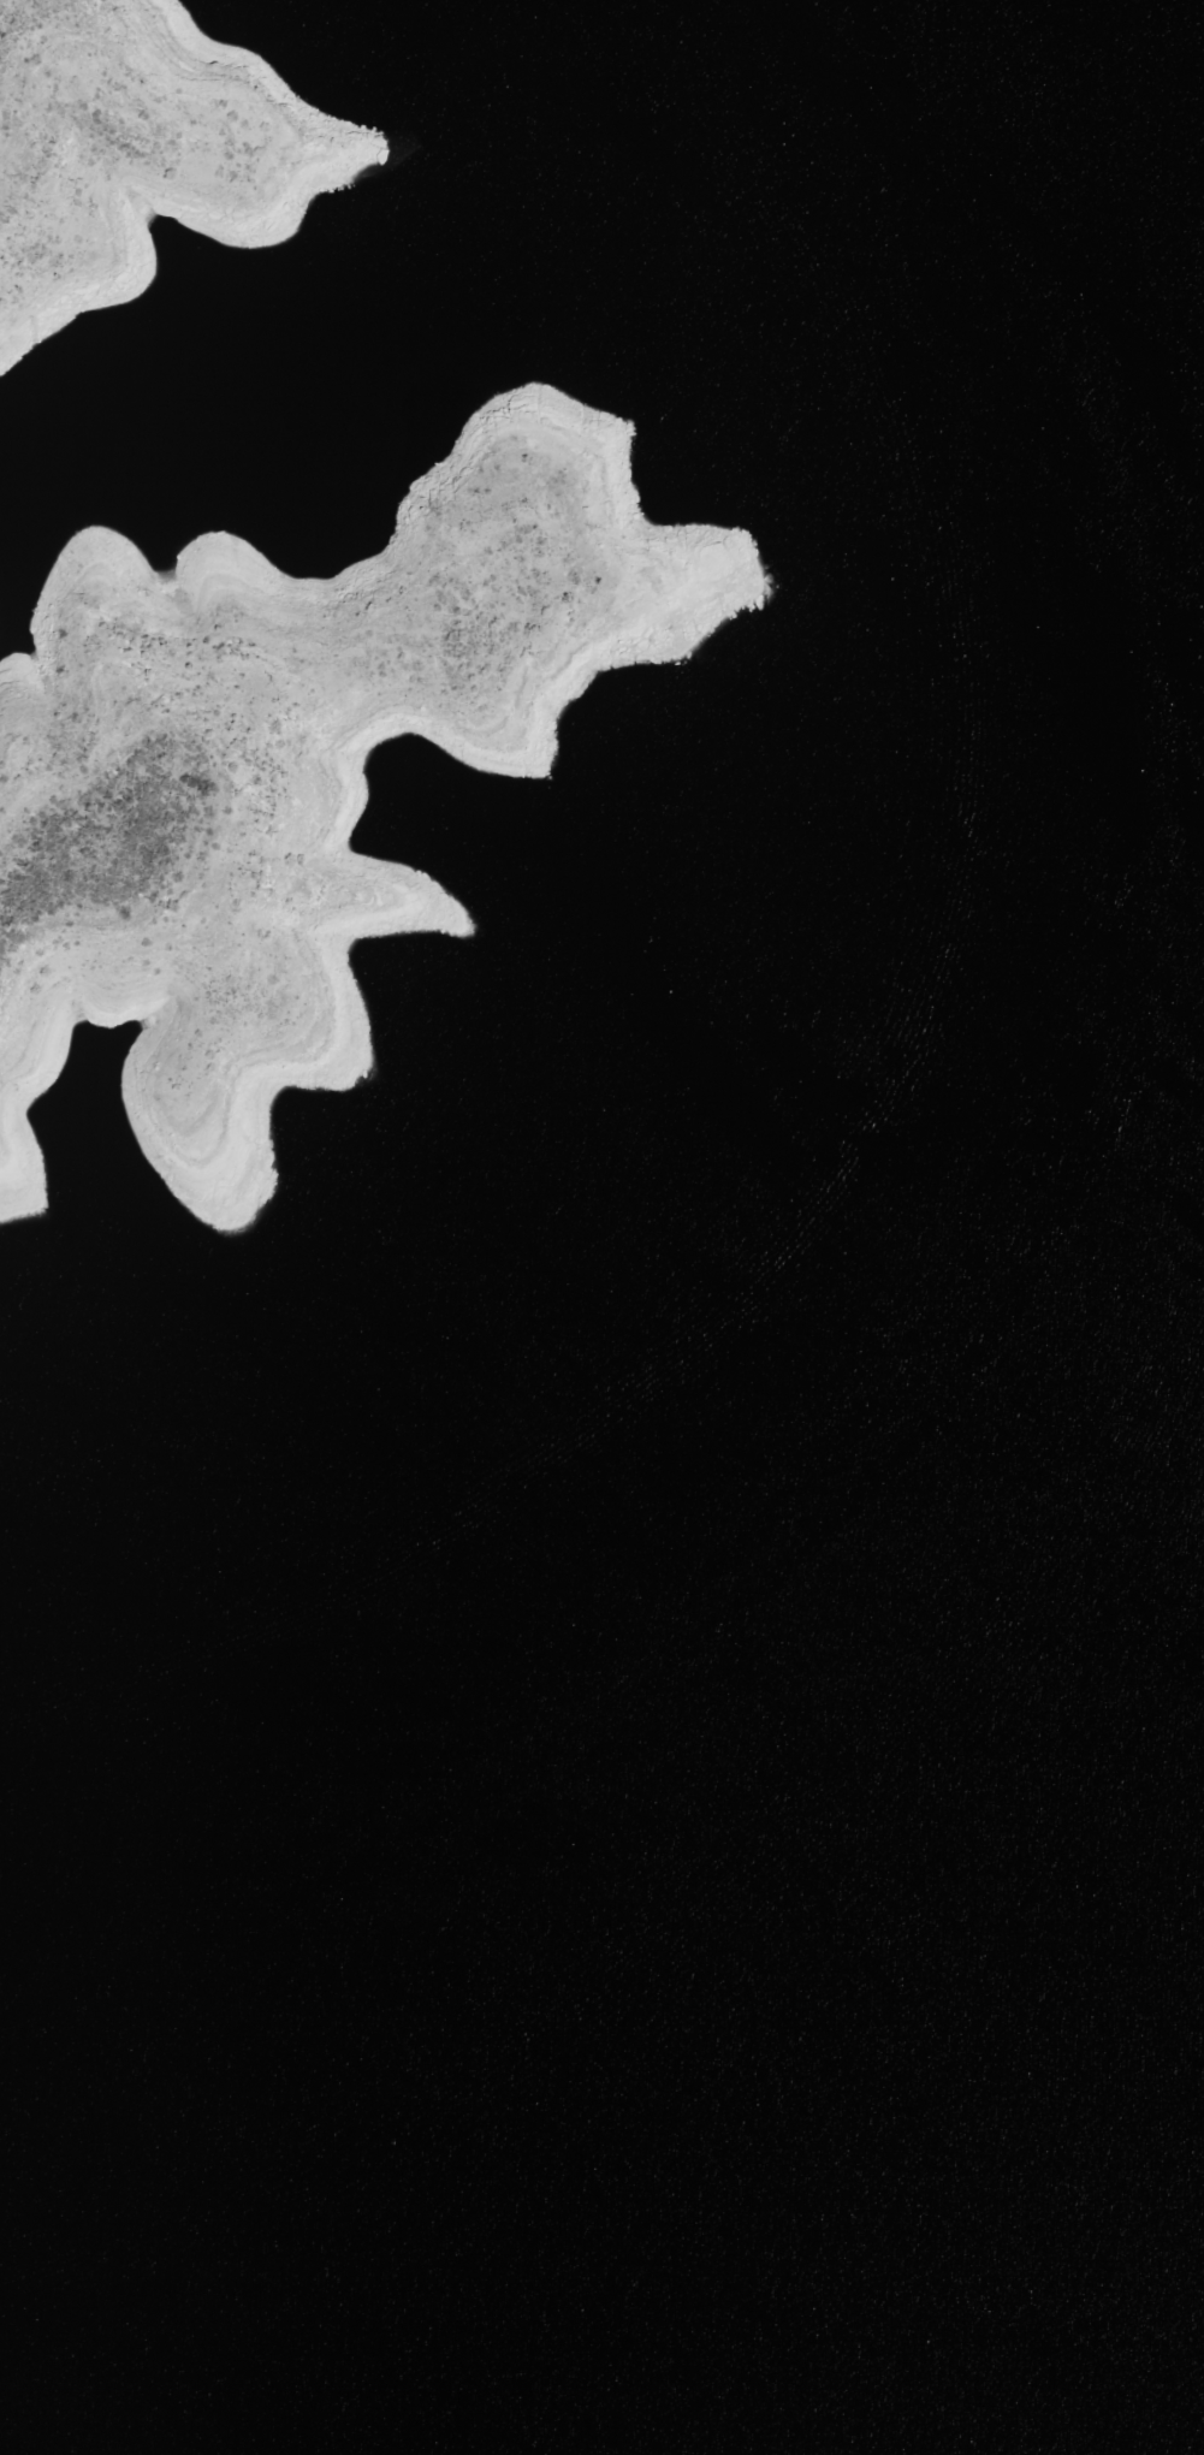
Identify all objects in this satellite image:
river: (607, 1923)

